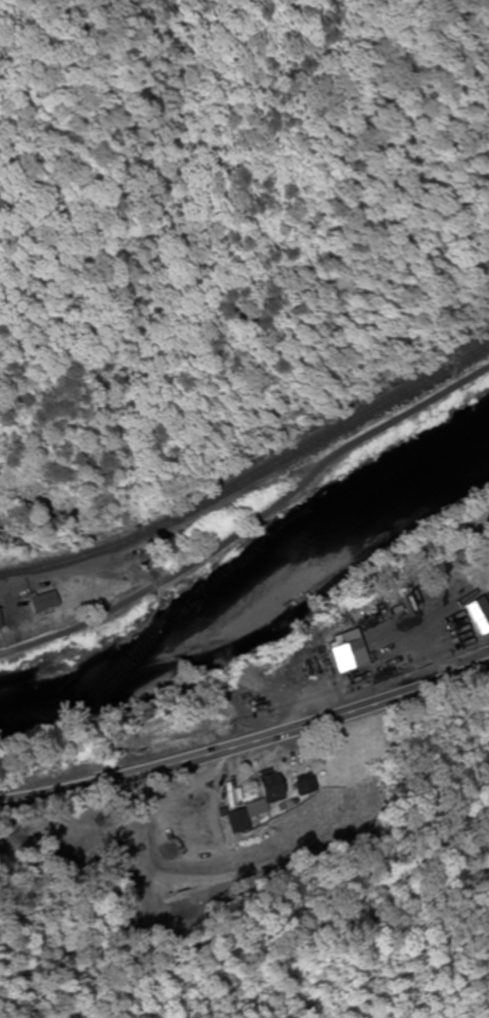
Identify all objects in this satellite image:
railway: (250, 474)
road: (252, 523)
building: (87, 595)
building: (35, 617)
river: (261, 619)
building: (6, 634)
building: (340, 653)
building: (296, 680)
building: (259, 694)
road: (246, 742)

